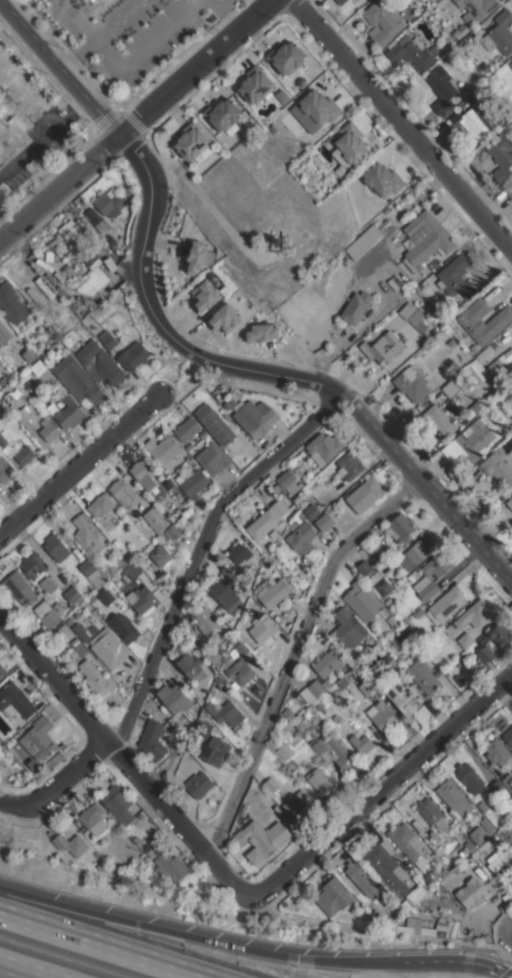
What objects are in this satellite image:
building: (87, 0)
building: (94, 0)
building: (340, 2)
building: (478, 6)
road: (223, 13)
road: (116, 18)
building: (382, 22)
building: (500, 33)
building: (465, 45)
road: (147, 47)
road: (78, 51)
building: (410, 52)
building: (286, 57)
building: (510, 64)
road: (59, 66)
road: (191, 66)
building: (484, 68)
building: (255, 84)
building: (443, 87)
building: (478, 92)
road: (26, 97)
building: (319, 107)
building: (223, 115)
road: (402, 122)
building: (470, 122)
road: (43, 136)
building: (191, 141)
building: (351, 143)
building: (500, 156)
building: (383, 179)
road: (58, 184)
building: (509, 190)
building: (110, 203)
building: (102, 226)
building: (72, 233)
building: (365, 240)
building: (427, 240)
building: (58, 247)
building: (49, 257)
building: (198, 257)
building: (112, 265)
building: (456, 276)
building: (91, 277)
building: (204, 296)
building: (11, 303)
building: (74, 303)
building: (356, 306)
building: (84, 307)
building: (413, 316)
building: (225, 318)
building: (471, 321)
building: (433, 331)
building: (4, 332)
building: (262, 332)
building: (107, 339)
building: (452, 342)
building: (382, 347)
building: (475, 348)
building: (29, 355)
building: (133, 355)
building: (13, 358)
building: (99, 363)
building: (37, 366)
building: (499, 372)
road: (270, 373)
building: (23, 375)
building: (78, 380)
building: (411, 383)
building: (449, 388)
building: (495, 395)
building: (61, 403)
building: (228, 403)
building: (67, 410)
building: (472, 410)
building: (225, 414)
building: (23, 416)
building: (255, 417)
building: (438, 419)
building: (214, 424)
building: (187, 429)
building: (49, 431)
building: (202, 433)
building: (4, 437)
building: (469, 442)
building: (188, 445)
building: (324, 447)
building: (164, 450)
building: (24, 454)
building: (213, 458)
building: (192, 461)
road: (81, 464)
building: (350, 465)
building: (499, 466)
building: (5, 471)
building: (144, 471)
building: (288, 481)
building: (193, 483)
building: (168, 484)
building: (123, 493)
building: (365, 494)
building: (297, 499)
building: (509, 502)
building: (101, 504)
building: (279, 507)
building: (311, 511)
building: (155, 518)
building: (297, 520)
building: (324, 521)
building: (265, 525)
building: (402, 527)
building: (172, 531)
building: (86, 533)
building: (302, 537)
building: (116, 542)
building: (56, 547)
building: (419, 550)
road: (199, 552)
building: (240, 552)
building: (161, 555)
building: (377, 560)
building: (33, 564)
building: (435, 565)
building: (364, 567)
building: (132, 569)
building: (92, 573)
building: (74, 577)
building: (47, 584)
building: (384, 586)
building: (19, 587)
building: (428, 590)
building: (272, 591)
building: (72, 594)
building: (228, 595)
building: (106, 597)
building: (141, 599)
building: (362, 601)
building: (388, 601)
building: (445, 604)
building: (256, 605)
building: (58, 606)
building: (384, 612)
building: (419, 613)
building: (47, 615)
building: (471, 616)
building: (68, 620)
building: (392, 621)
building: (207, 622)
building: (240, 623)
building: (124, 626)
building: (262, 629)
building: (346, 629)
building: (80, 632)
building: (500, 633)
building: (63, 634)
building: (393, 634)
building: (483, 638)
building: (403, 639)
building: (417, 639)
building: (234, 641)
building: (461, 644)
building: (79, 647)
building: (108, 648)
building: (241, 648)
building: (485, 653)
road: (293, 655)
building: (214, 656)
building: (460, 658)
building: (327, 662)
building: (190, 665)
building: (2, 670)
building: (386, 670)
building: (241, 671)
building: (422, 674)
building: (96, 678)
building: (218, 679)
building: (457, 679)
building: (318, 686)
building: (368, 687)
building: (174, 697)
building: (404, 697)
building: (15, 701)
building: (319, 706)
building: (431, 708)
building: (225, 711)
building: (383, 717)
building: (300, 725)
building: (203, 729)
building: (41, 736)
building: (508, 736)
building: (152, 740)
building: (297, 741)
building: (362, 743)
building: (284, 750)
building: (333, 750)
building: (216, 751)
building: (497, 752)
road: (125, 763)
building: (33, 764)
building: (292, 766)
building: (299, 775)
building: (469, 777)
building: (319, 780)
building: (508, 780)
building: (176, 784)
building: (199, 784)
building: (271, 785)
road: (55, 786)
building: (497, 788)
road: (383, 789)
building: (453, 796)
building: (297, 802)
building: (118, 804)
building: (483, 806)
building: (279, 809)
building: (433, 814)
building: (92, 815)
building: (486, 824)
building: (510, 831)
building: (478, 834)
building: (262, 839)
building: (71, 843)
building: (408, 843)
building: (496, 843)
building: (388, 846)
building: (467, 848)
building: (482, 849)
building: (152, 851)
building: (96, 854)
building: (145, 858)
building: (438, 860)
building: (500, 861)
building: (466, 862)
building: (101, 865)
building: (169, 867)
building: (386, 869)
building: (428, 879)
building: (362, 881)
building: (511, 884)
building: (417, 891)
building: (470, 893)
building: (333, 897)
building: (405, 905)
building: (383, 925)
building: (409, 925)
road: (382, 933)
road: (206, 939)
road: (103, 945)
road: (463, 965)
road: (25, 969)

